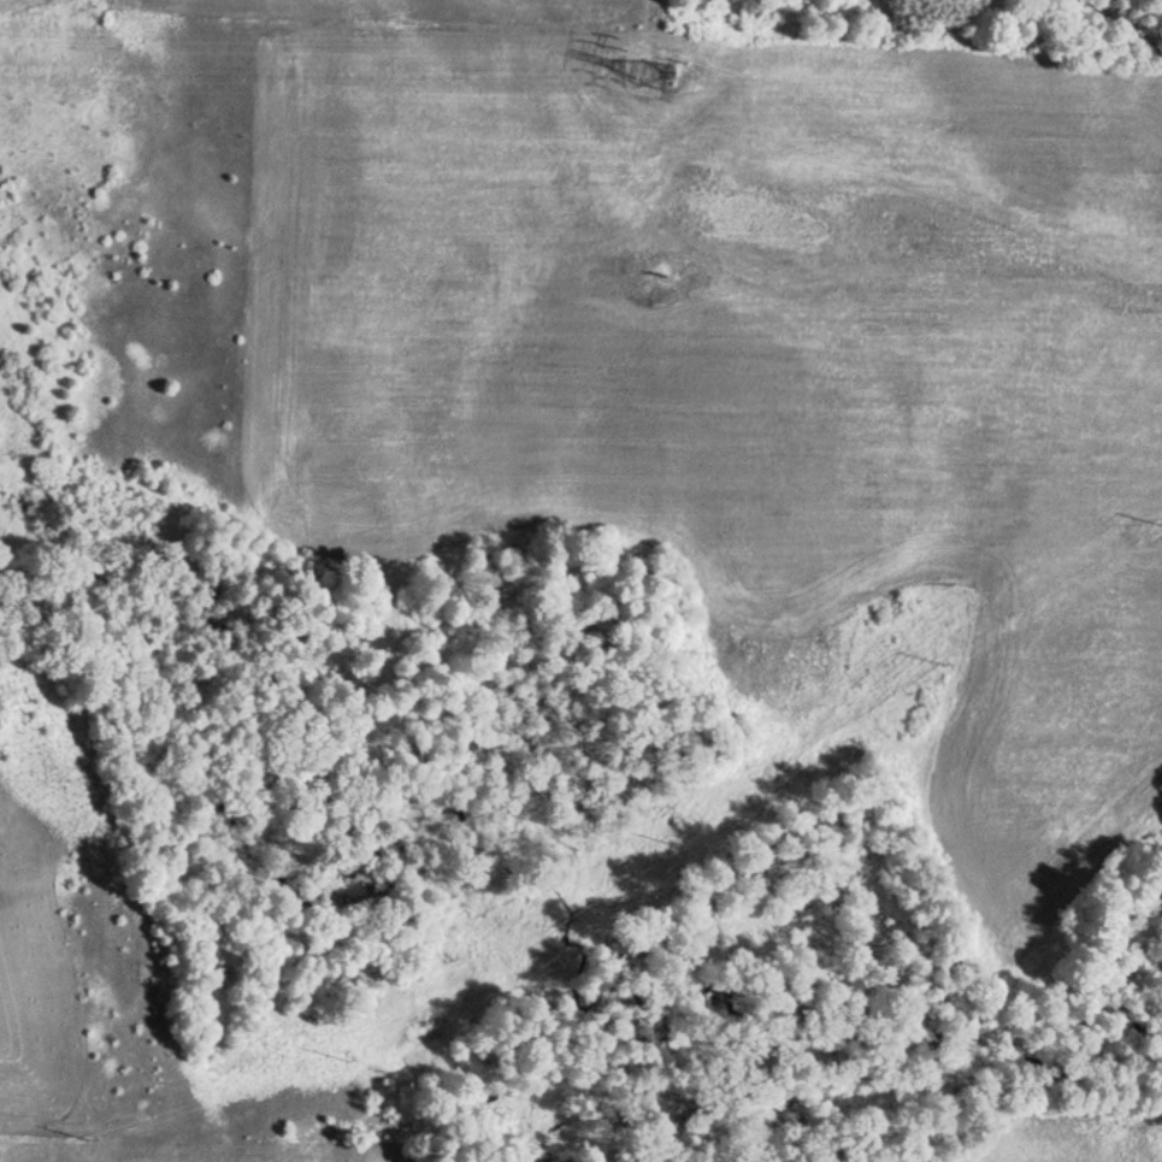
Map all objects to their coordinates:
power tower: (655, 69)

